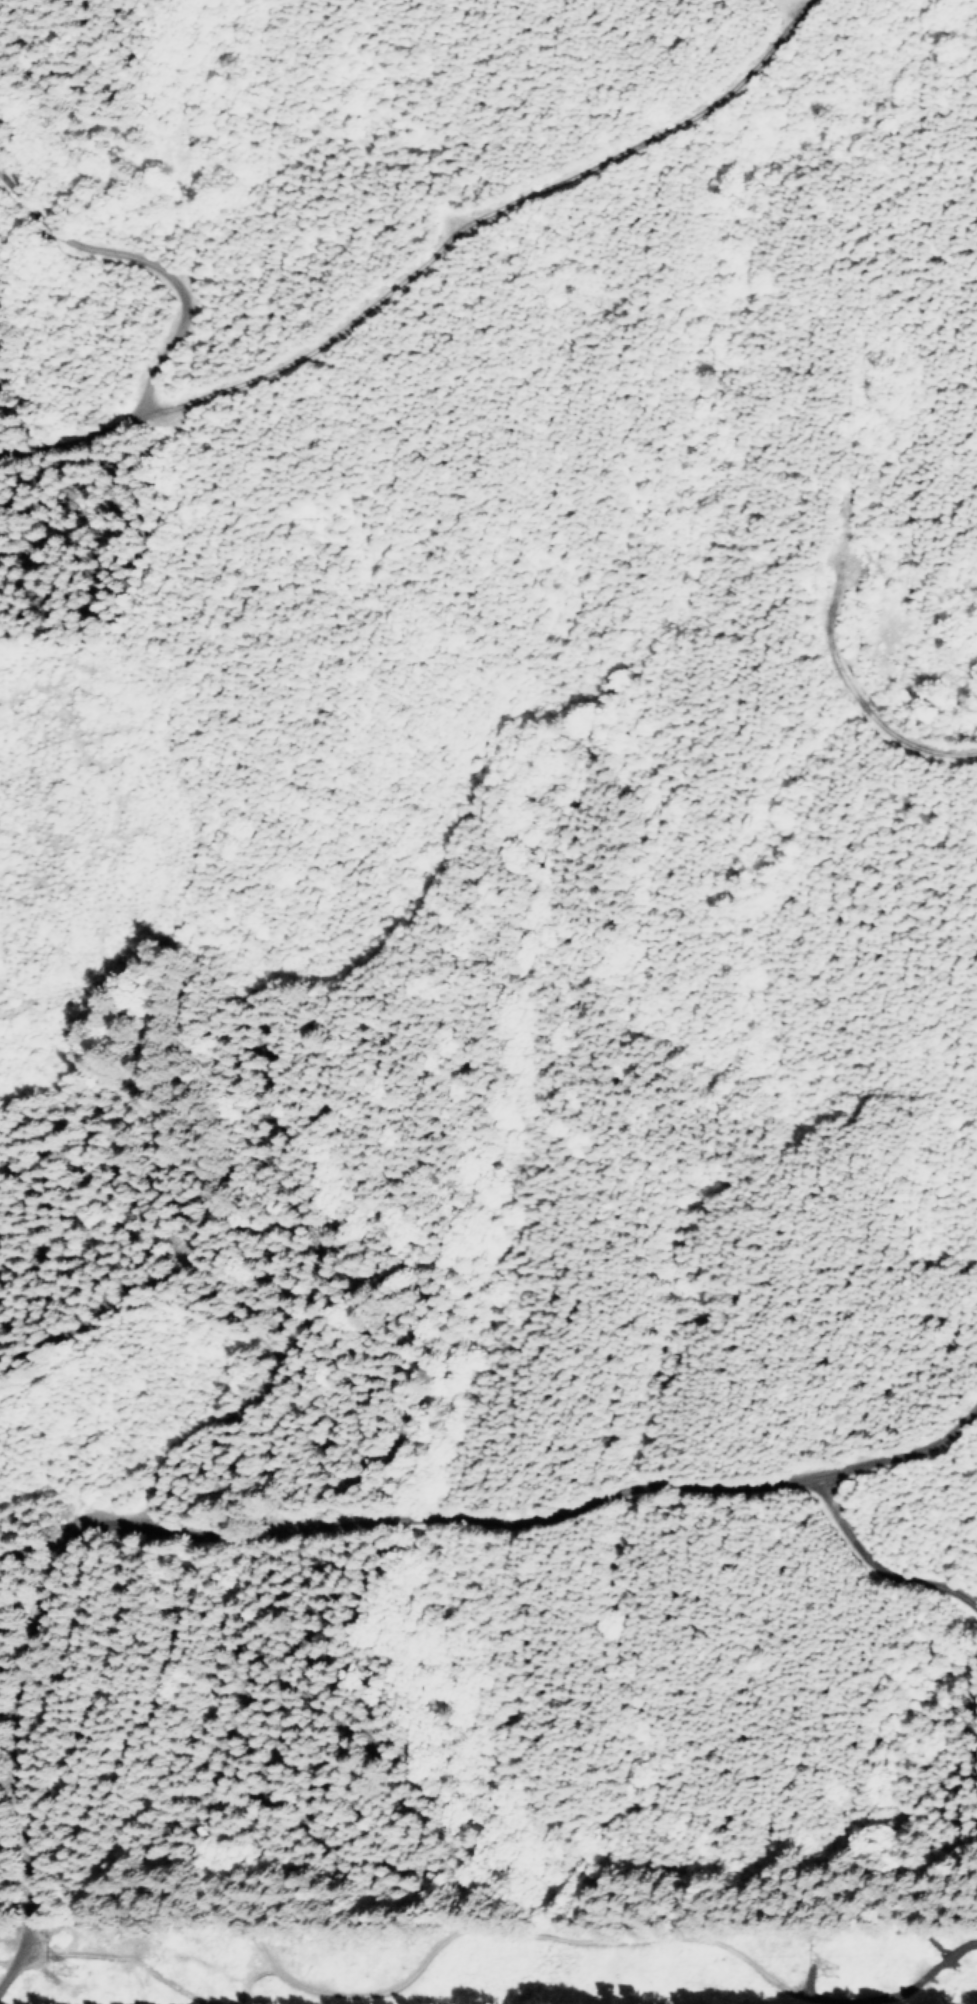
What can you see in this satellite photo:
road: (328, 307)
road: (358, 1530)
road: (902, 1542)
road: (151, 1883)
power tower: (67, 1967)
power tower: (828, 1969)

